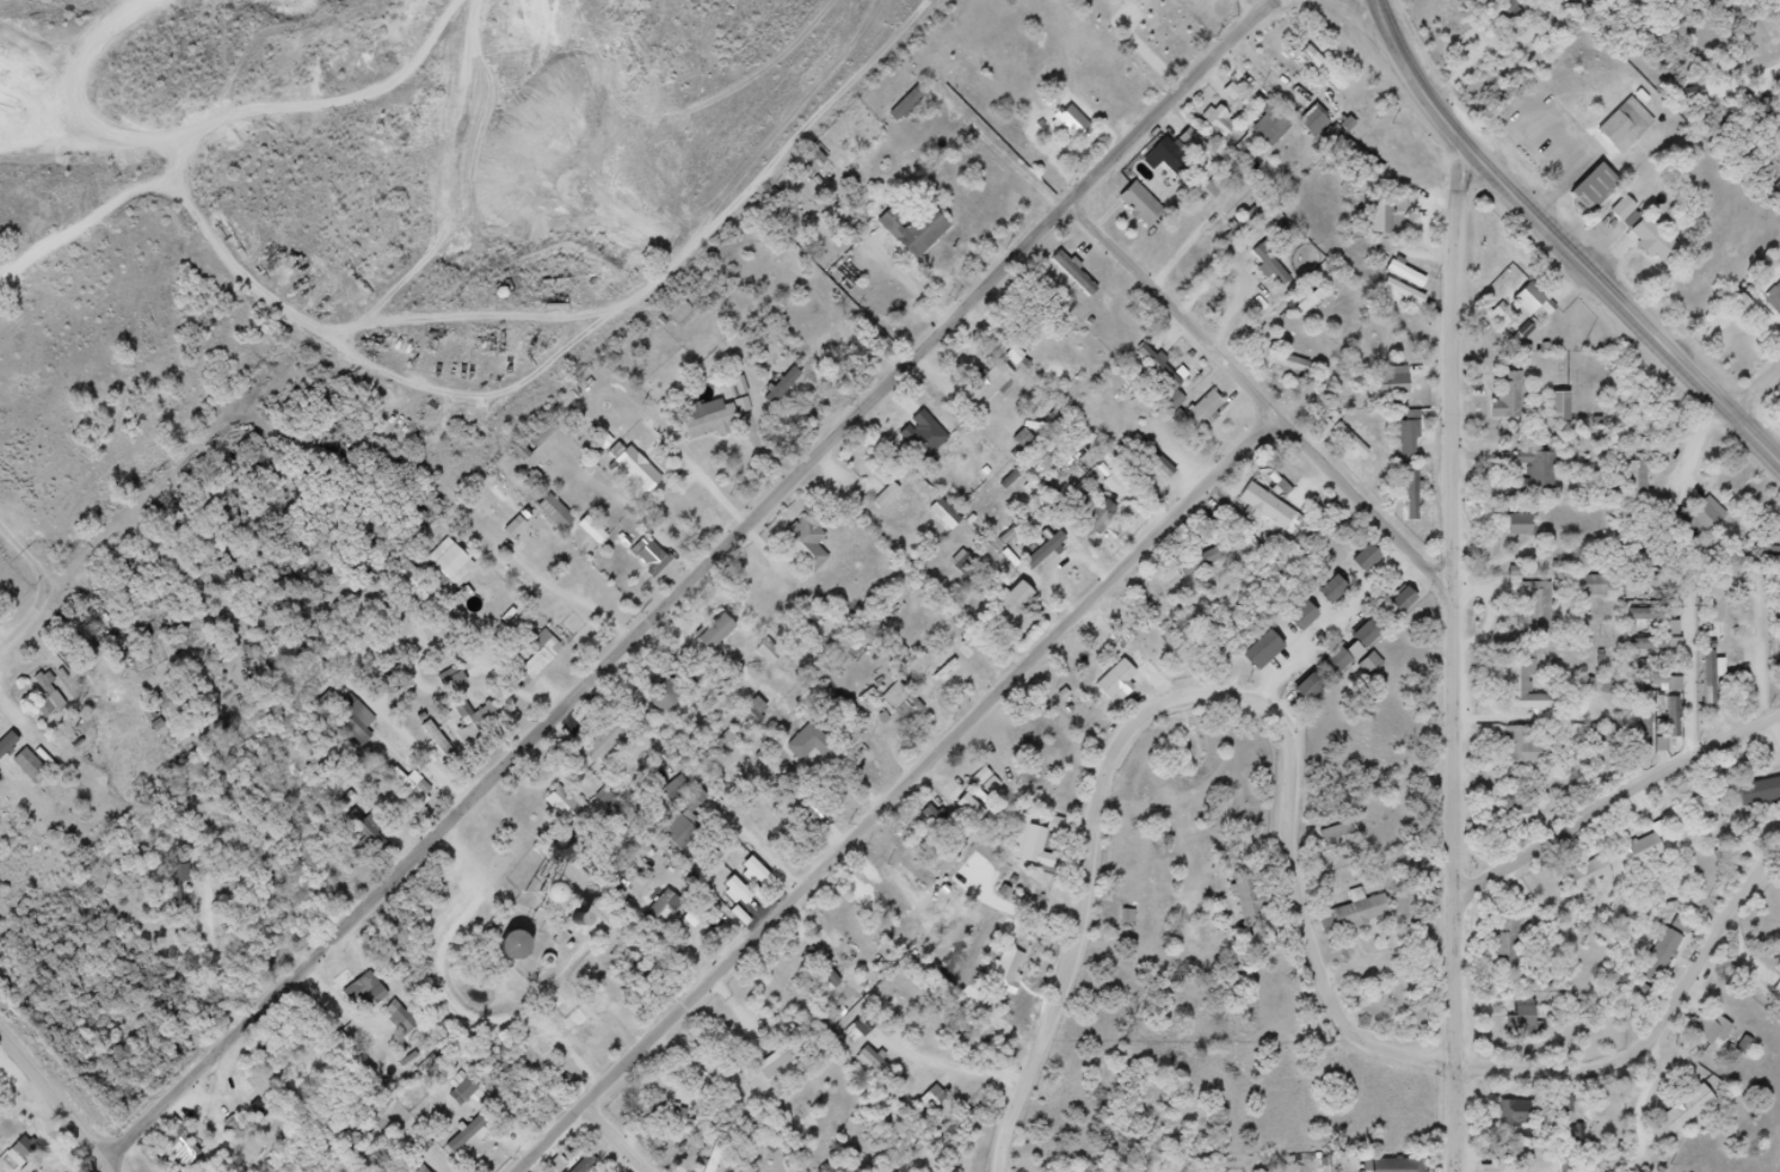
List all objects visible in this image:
building: (1133, 0)
building: (1508, 13)
road: (1372, 20)
road: (356, 27)
building: (1324, 70)
building: (906, 107)
building: (1312, 122)
building: (1219, 123)
building: (1085, 128)
building: (1271, 128)
building: (1636, 131)
building: (1171, 158)
building: (1362, 160)
building: (812, 166)
building: (1605, 197)
building: (1152, 209)
building: (1392, 221)
building: (924, 235)
building: (1657, 238)
road: (1564, 242)
building: (1271, 266)
building: (1074, 275)
building: (1406, 276)
building: (1243, 290)
building: (1404, 294)
road: (1185, 298)
building: (1774, 300)
building: (1308, 302)
building: (1544, 306)
building: (815, 311)
building: (680, 314)
building: (1291, 366)
building: (1163, 381)
building: (1393, 381)
road: (1754, 384)
building: (988, 387)
building: (1405, 388)
building: (1515, 402)
building: (1205, 409)
building: (1560, 409)
building: (1213, 415)
building: (713, 425)
building: (926, 434)
building: (1421, 438)
building: (536, 439)
building: (1409, 440)
building: (1025, 442)
building: (1362, 446)
building: (1151, 459)
road: (183, 469)
building: (643, 474)
building: (1547, 479)
building: (1636, 480)
building: (1126, 483)
building: (1412, 494)
road: (1371, 499)
building: (1286, 500)
building: (899, 501)
building: (1423, 502)
building: (555, 514)
building: (944, 514)
building: (1095, 516)
building: (1710, 516)
building: (1519, 525)
building: (1529, 536)
building: (1040, 542)
building: (806, 545)
building: (1757, 553)
building: (652, 557)
building: (1365, 560)
building: (965, 565)
building: (1378, 569)
road: (74, 578)
road: (692, 579)
building: (1591, 586)
building: (1330, 591)
road: (568, 598)
building: (1342, 600)
building: (1400, 602)
building: (1014, 603)
building: (1412, 612)
building: (1301, 618)
building: (1545, 618)
building: (1692, 621)
road: (1347, 624)
building: (1313, 627)
building: (1671, 628)
building: (713, 634)
building: (1365, 635)
building: (1779, 639)
building: (1659, 647)
building: (1376, 648)
building: (1261, 652)
building: (769, 653)
building: (534, 660)
building: (1273, 660)
road: (1455, 662)
building: (1334, 664)
building: (950, 666)
building: (1345, 673)
building: (451, 680)
building: (1116, 681)
building: (1659, 684)
building: (1589, 686)
building: (1307, 689)
building: (48, 693)
building: (1534, 697)
building: (1707, 697)
building: (663, 698)
building: (1317, 698)
building: (755, 714)
building: (350, 718)
building: (476, 723)
building: (1645, 729)
building: (604, 742)
building: (7, 744)
building: (728, 745)
building: (1532, 758)
building: (30, 765)
building: (412, 788)
building: (677, 789)
road: (897, 789)
building: (1763, 801)
building: (566, 803)
building: (1519, 806)
road: (1616, 807)
building: (1704, 812)
building: (936, 818)
building: (1712, 821)
building: (683, 825)
road: (1291, 829)
building: (1343, 829)
building: (369, 834)
building: (1030, 847)
building: (1653, 858)
building: (1590, 877)
building: (726, 881)
building: (1601, 882)
building: (178, 886)
building: (1250, 896)
building: (906, 901)
building: (663, 911)
building: (1371, 915)
building: (981, 926)
building: (1507, 942)
building: (509, 949)
building: (1674, 958)
building: (1515, 961)
building: (823, 969)
building: (1008, 974)
building: (365, 993)
building: (871, 1016)
building: (406, 1020)
building: (1533, 1020)
building: (1719, 1038)
building: (881, 1069)
building: (780, 1071)
building: (464, 1092)
building: (930, 1094)
road: (54, 1096)
building: (1686, 1111)
building: (1615, 1112)
building: (1573, 1114)
building: (1702, 1115)
building: (1520, 1118)
building: (675, 1119)
building: (381, 1123)
road: (629, 1133)
building: (469, 1135)
building: (181, 1143)
building: (24, 1151)
building: (710, 1161)
road: (116, 1164)
building: (583, 1164)
building: (1398, 1165)
building: (424, 1170)

